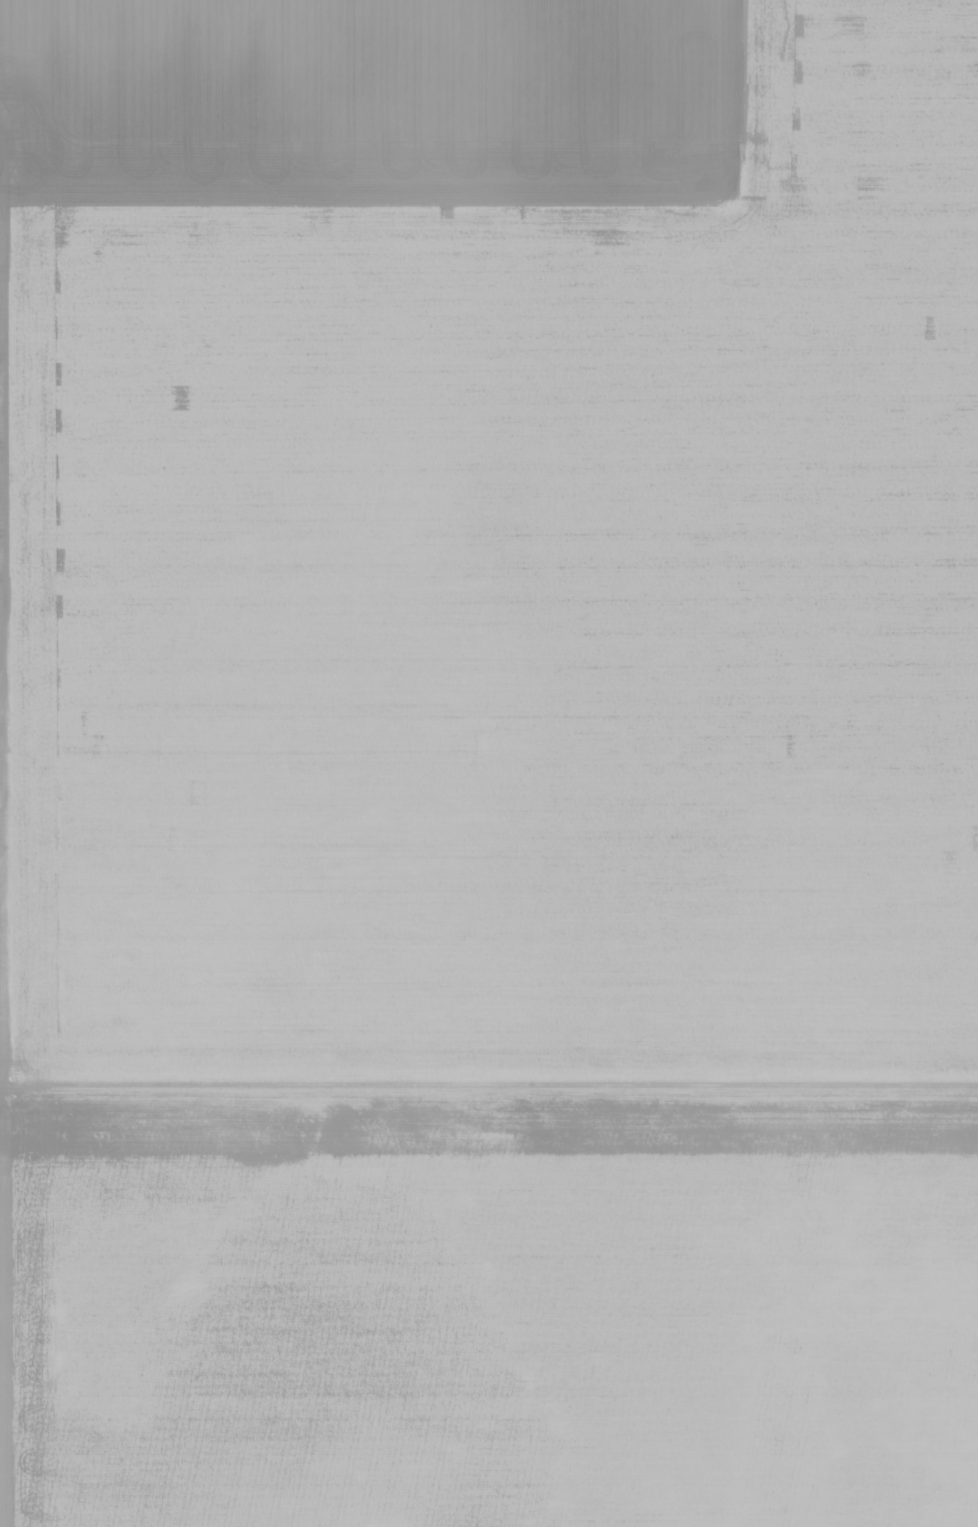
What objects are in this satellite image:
road: (489, 1084)

